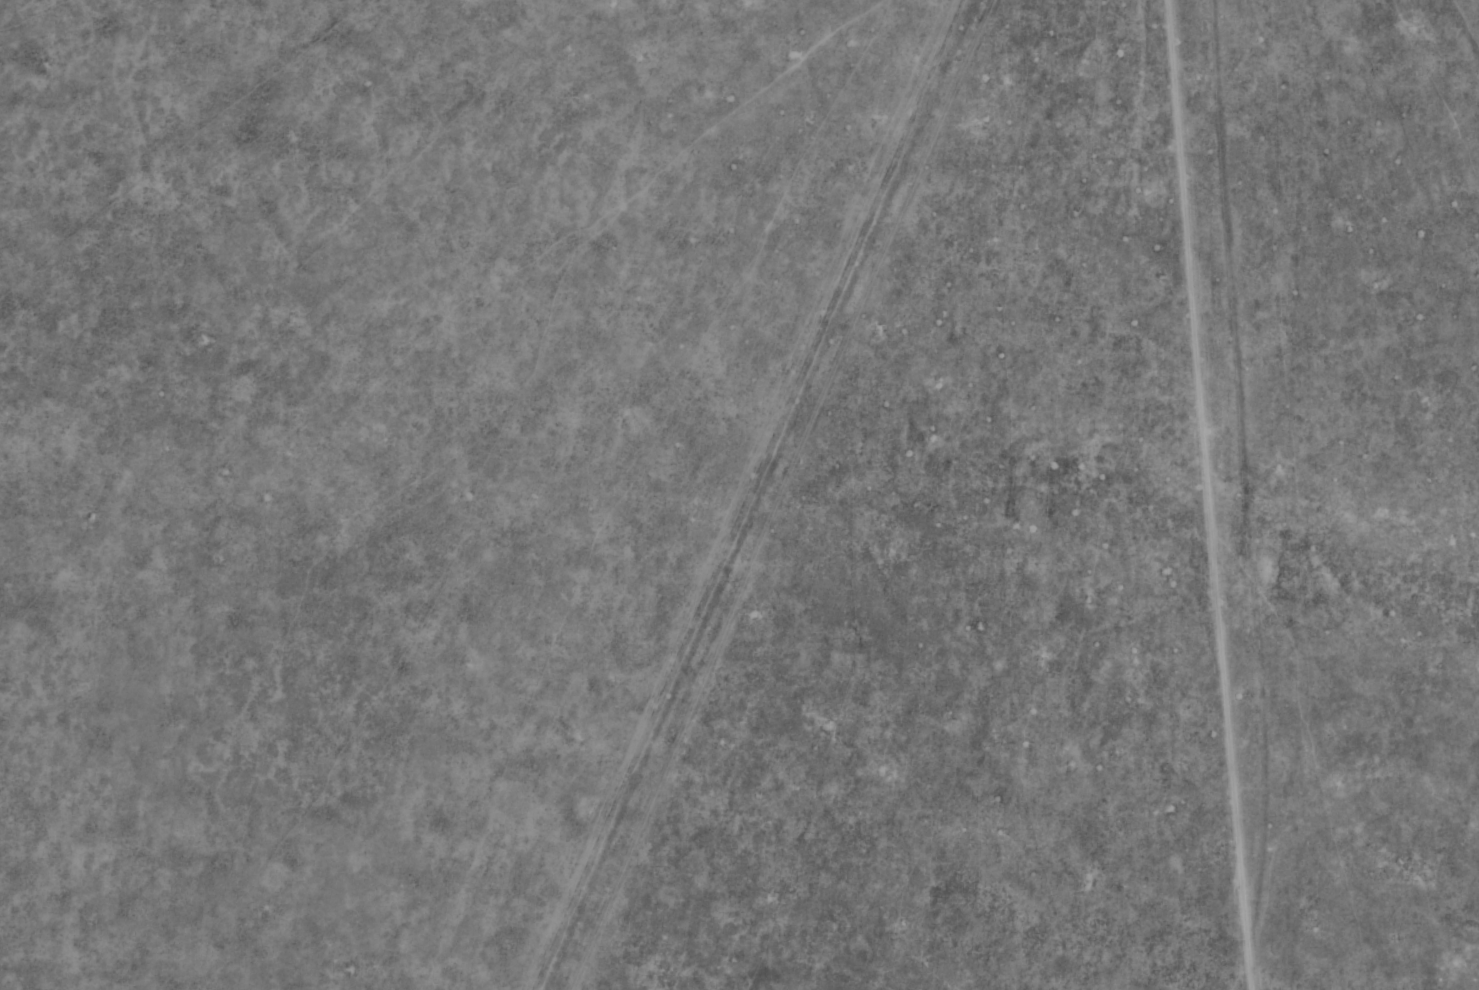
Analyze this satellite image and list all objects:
road: (1219, 495)

